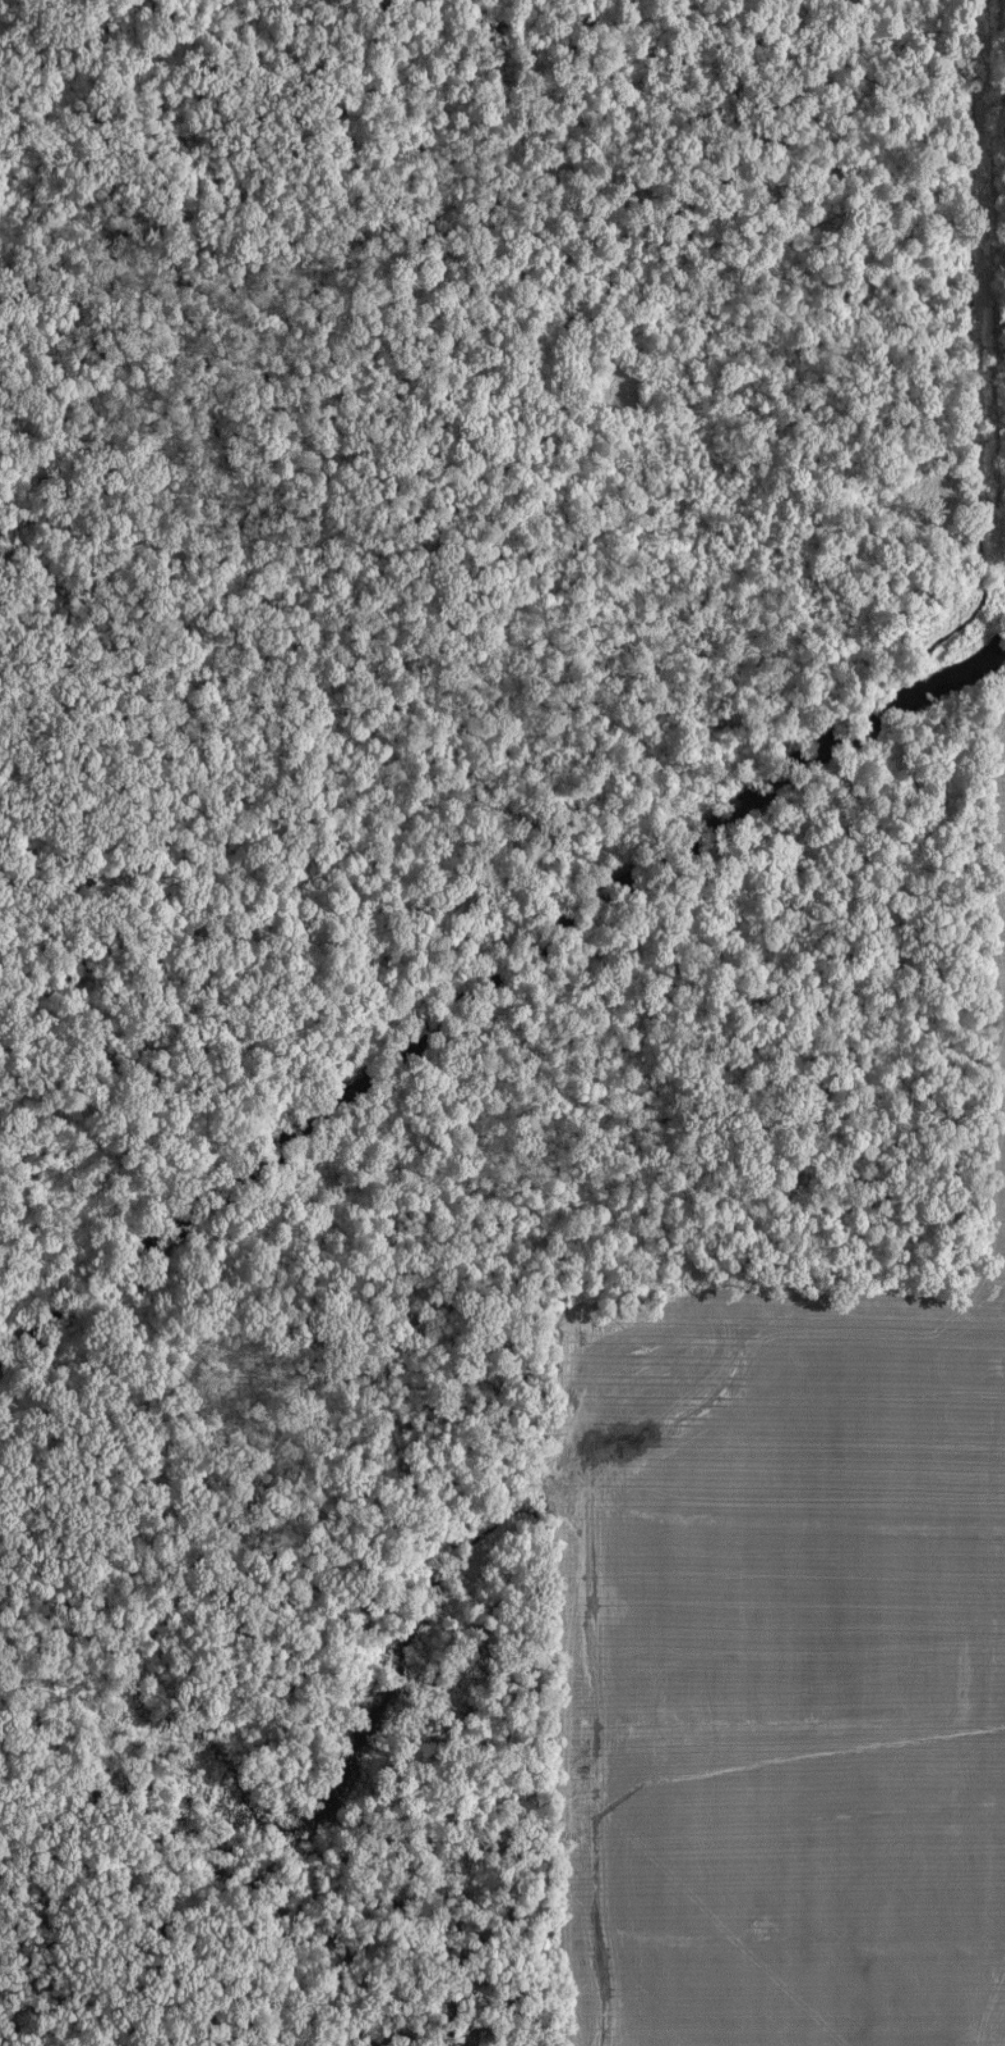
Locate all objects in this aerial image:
road: (993, 321)

